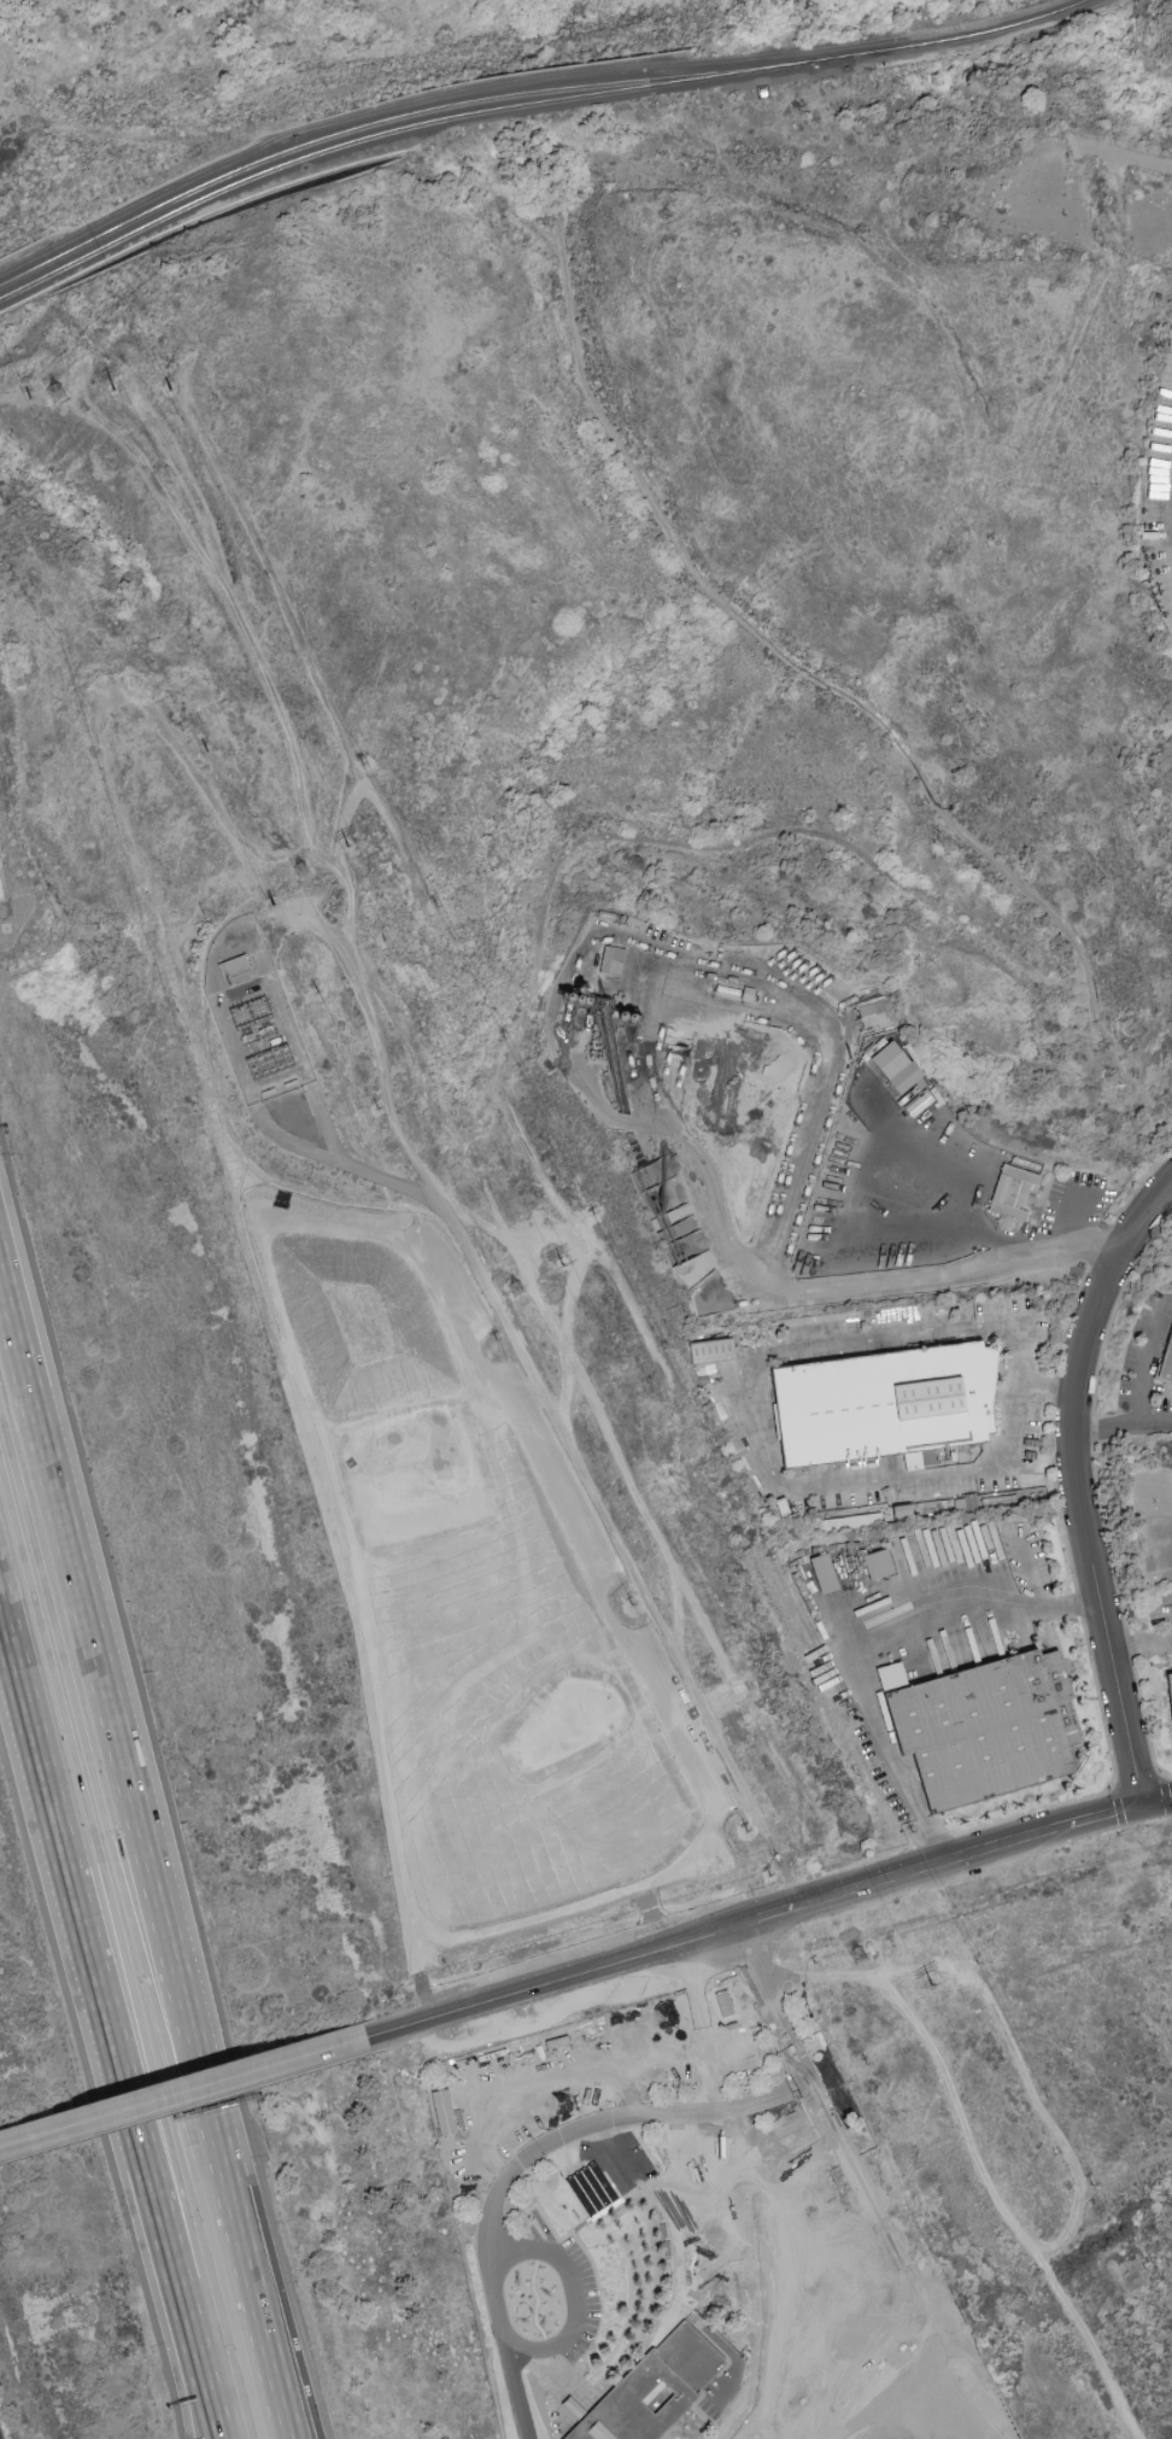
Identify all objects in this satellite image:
railway: (954, 39)
road: (127, 49)
railway: (658, 80)
railway: (660, 86)
road: (229, 145)
railway: (242, 168)
railway: (244, 181)
power tower: (63, 392)
power tower: (116, 392)
power tower: (352, 848)
power tower: (306, 872)
building: (614, 958)
road: (716, 967)
building: (875, 1012)
power substation: (260, 1040)
building: (904, 1063)
building: (916, 1111)
building: (1008, 1191)
road: (1071, 1217)
power tower: (564, 1268)
road: (764, 1281)
power tower: (521, 1291)
road: (1021, 1347)
building: (710, 1350)
building: (1165, 1351)
road: (1141, 1362)
road: (1051, 1387)
road: (750, 1398)
building: (891, 1398)
road: (1125, 1425)
road: (1008, 1431)
road: (1079, 1485)
building: (854, 1521)
building: (872, 1563)
building: (818, 1572)
road: (1015, 1597)
road: (1143, 1644)
road: (94, 1651)
road: (866, 1689)
building: (1168, 1694)
building: (994, 1724)
road: (1156, 1800)
road: (932, 1840)
road: (110, 1841)
road: (934, 1862)
road: (70, 1884)
road: (113, 1900)
power tower: (860, 1955)
road: (547, 1982)
power tower: (933, 1985)
road: (760, 1987)
road: (195, 2055)
road: (183, 2090)
road: (206, 2100)
road: (230, 2193)
road: (491, 2212)
road: (153, 2219)
road: (891, 2256)
road: (276, 2275)
road: (271, 2352)
road: (178, 2355)
road: (187, 2355)
road: (515, 2390)
building: (649, 2392)
parking lot: (0, 2435)

